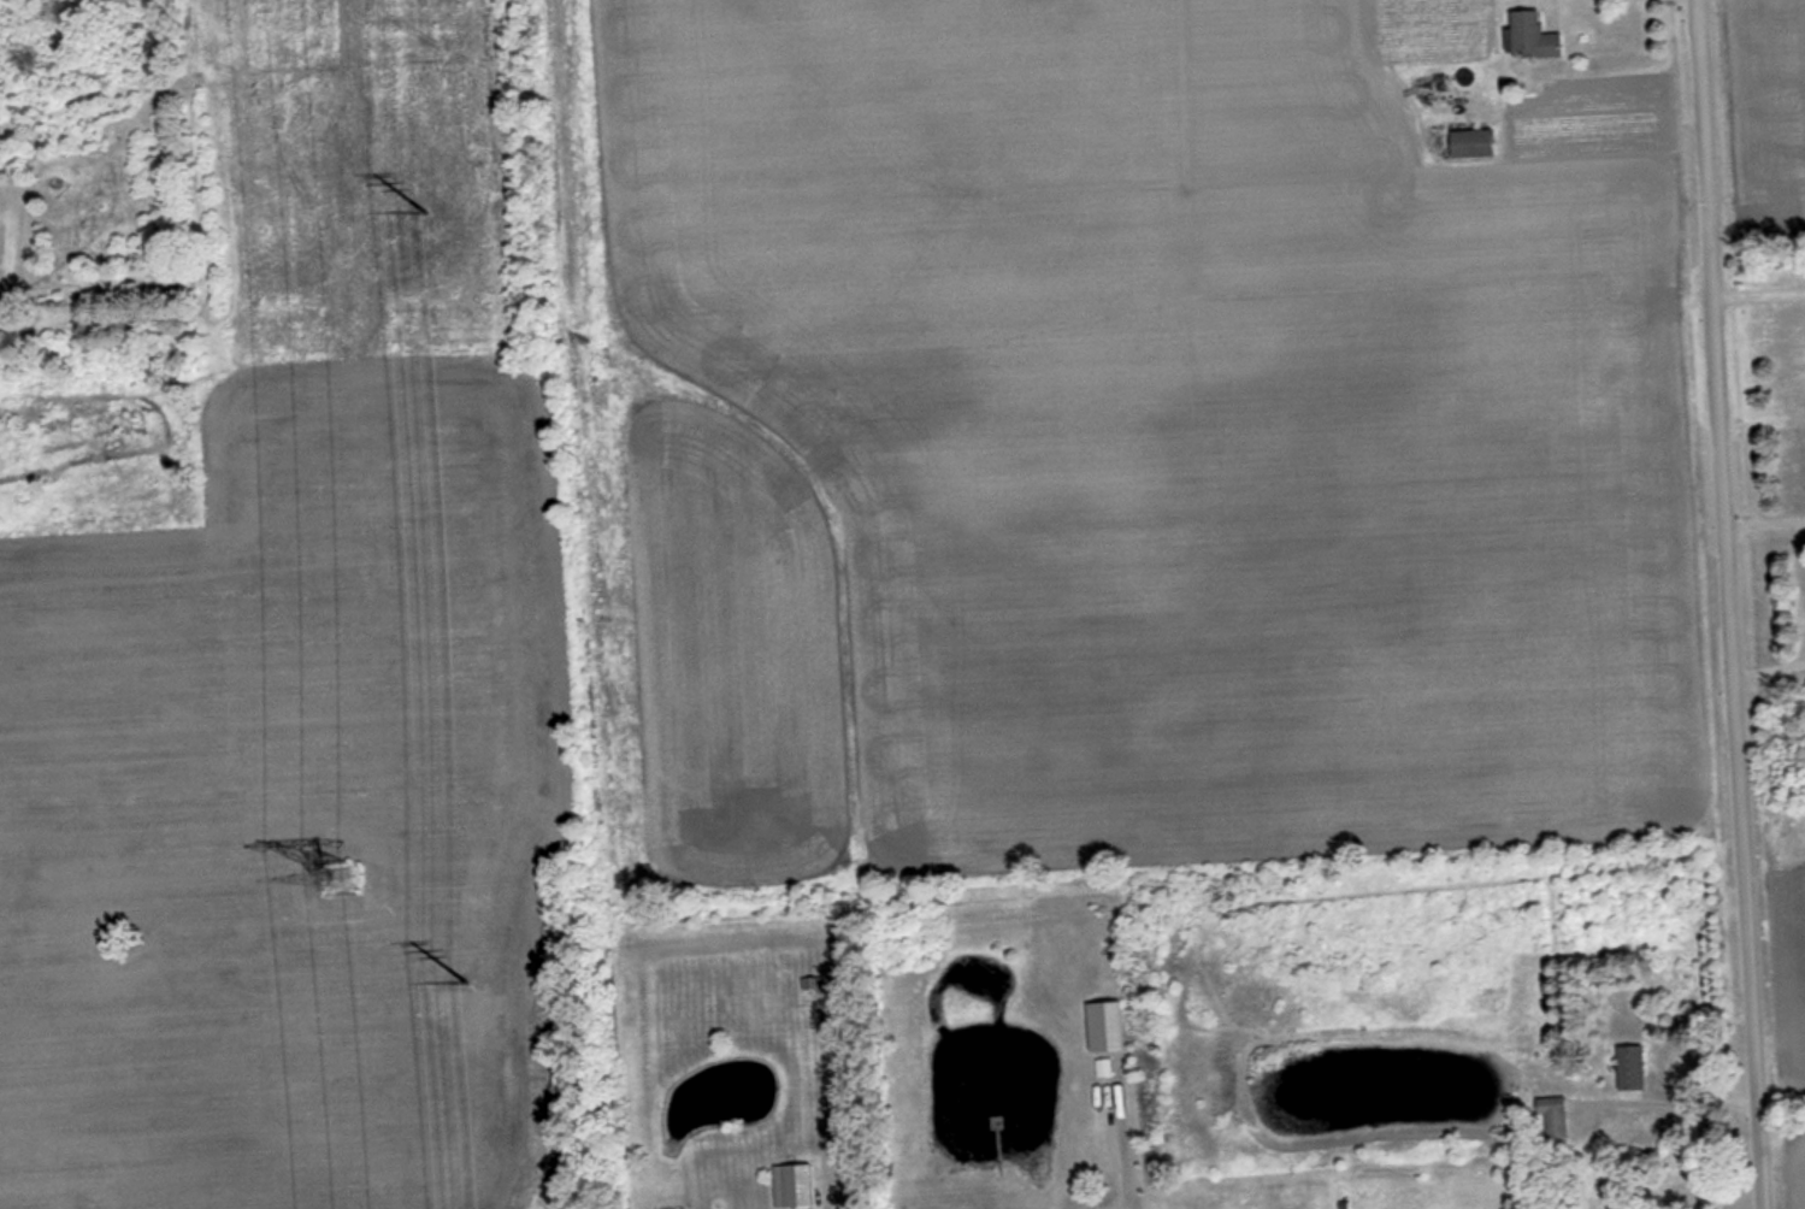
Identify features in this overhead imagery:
building: (1528, 35)
building: (1470, 141)
power tower: (429, 196)
road: (1754, 281)
road: (1760, 518)
road: (1723, 603)
road: (1766, 668)
power tower: (335, 884)
power tower: (483, 981)
building: (1104, 1025)
building: (1629, 1067)
road: (1675, 1098)
building: (1553, 1116)
road: (1123, 1145)

